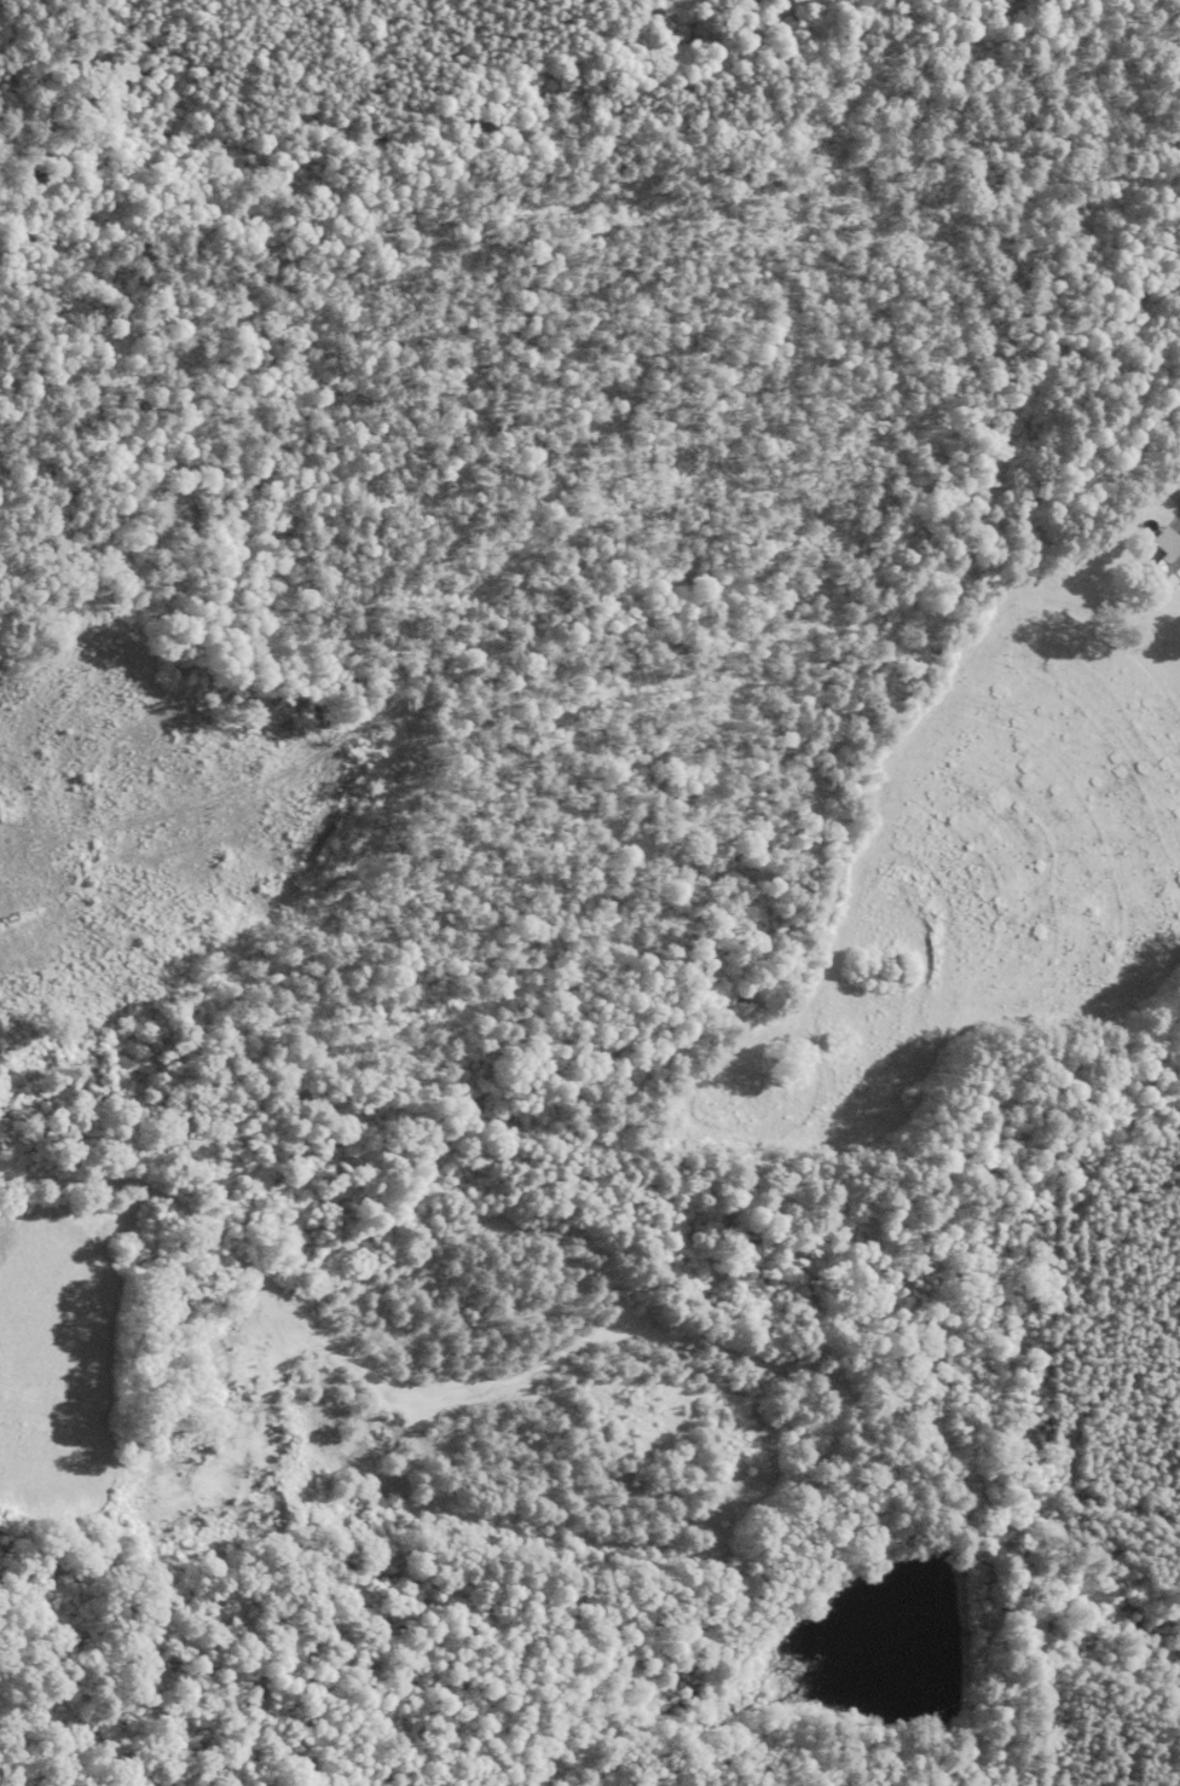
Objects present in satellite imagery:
building: (1167, 561)
building: (60, 1715)

